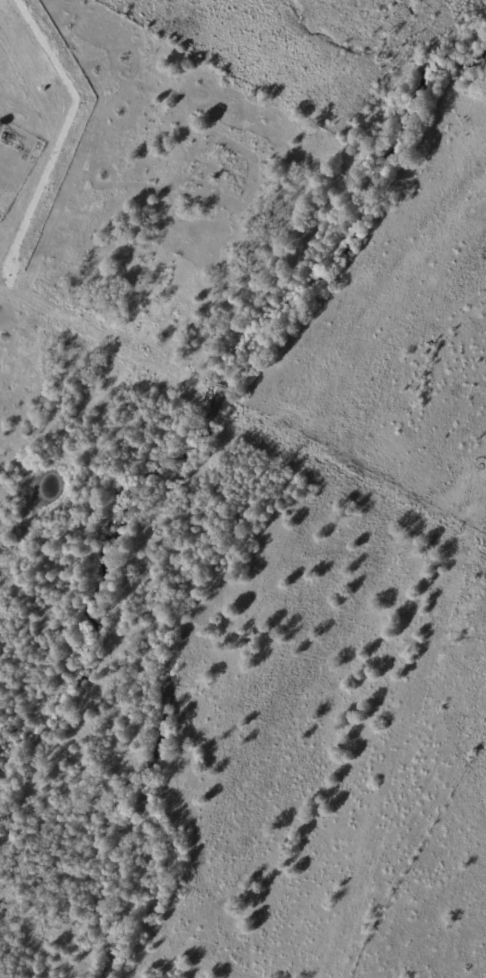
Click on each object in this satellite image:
road: (60, 139)

